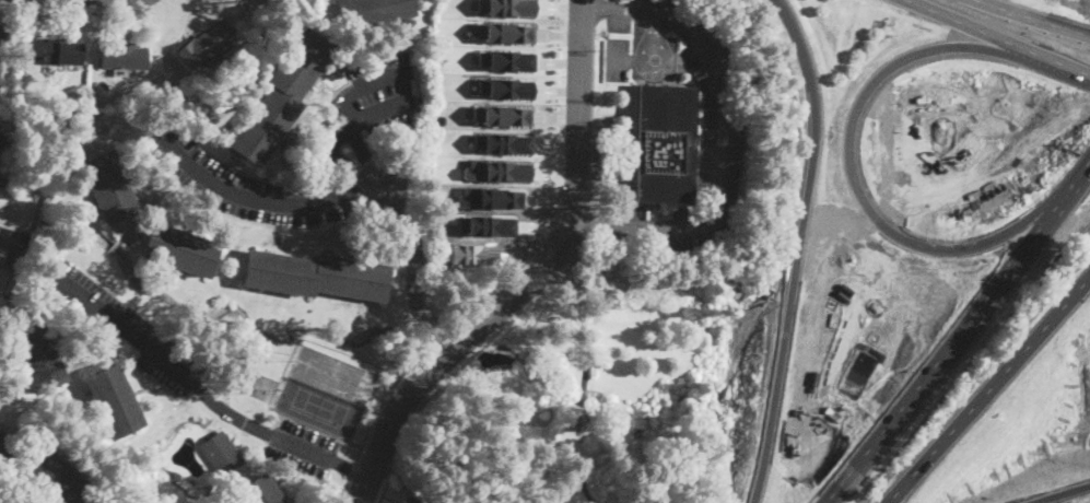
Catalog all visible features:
building: (506, 7)
road: (597, 10)
road: (994, 10)
building: (371, 12)
road: (961, 16)
road: (1048, 17)
traffic signals: (975, 22)
building: (504, 32)
traffic signals: (1027, 40)
building: (198, 48)
road: (1045, 48)
building: (1, 51)
building: (62, 51)
building: (122, 56)
parking lot: (617, 58)
road: (624, 58)
building: (506, 59)
road: (406, 72)
road: (654, 72)
building: (506, 87)
road: (949, 91)
parking lot: (377, 95)
building: (282, 96)
building: (502, 115)
parking lot: (724, 119)
building: (0, 138)
road: (333, 140)
building: (503, 142)
building: (664, 144)
parking lot: (329, 148)
road: (366, 157)
road: (722, 161)
parking lot: (247, 184)
building: (110, 187)
road: (371, 189)
road: (254, 199)
building: (180, 249)
road: (849, 250)
building: (17, 258)
road: (414, 269)
building: (316, 274)
road: (529, 276)
parking lot: (122, 325)
road: (959, 337)
road: (433, 342)
building: (36, 354)
park: (331, 374)
road: (187, 378)
road: (987, 389)
building: (114, 401)
park: (318, 407)
road: (418, 417)
road: (374, 418)
parking lot: (301, 446)
building: (5, 447)
building: (221, 454)
road: (351, 469)
building: (57, 477)
building: (258, 491)
road: (1054, 491)
building: (411, 500)

